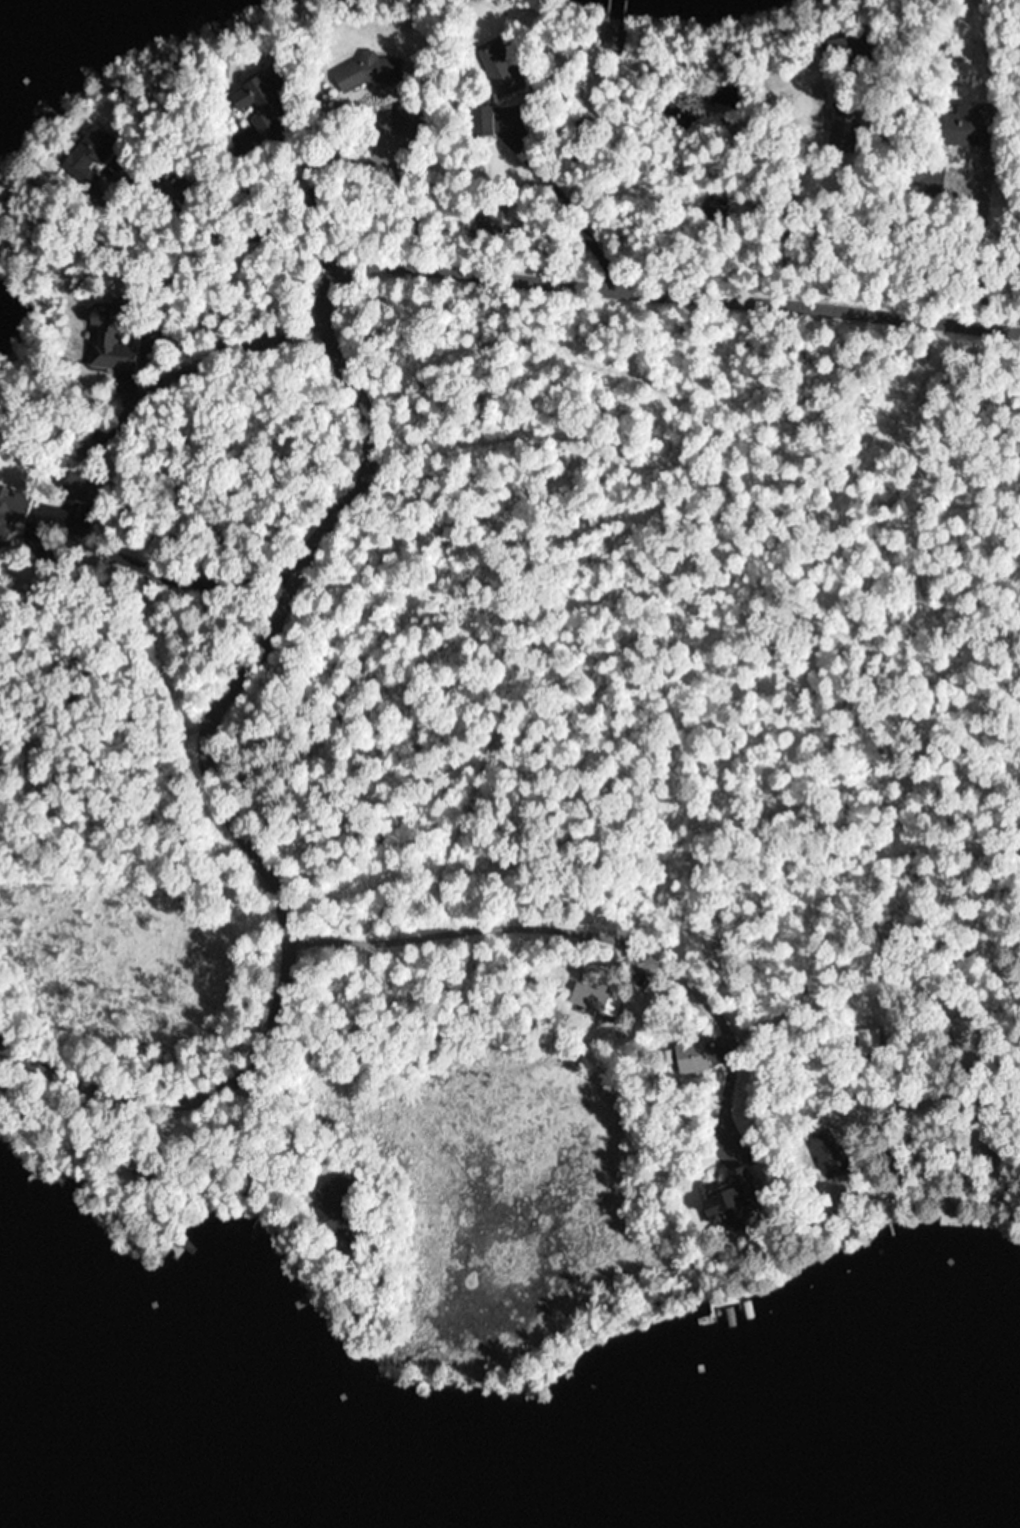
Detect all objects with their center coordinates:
building: (613, 37)
building: (357, 72)
building: (498, 72)
building: (261, 104)
building: (480, 121)
building: (962, 127)
building: (838, 135)
building: (923, 179)
building: (108, 342)
road: (114, 417)
road: (567, 933)
building: (588, 999)
building: (686, 1057)
road: (901, 1086)
building: (982, 1158)
building: (723, 1207)
building: (333, 1214)

